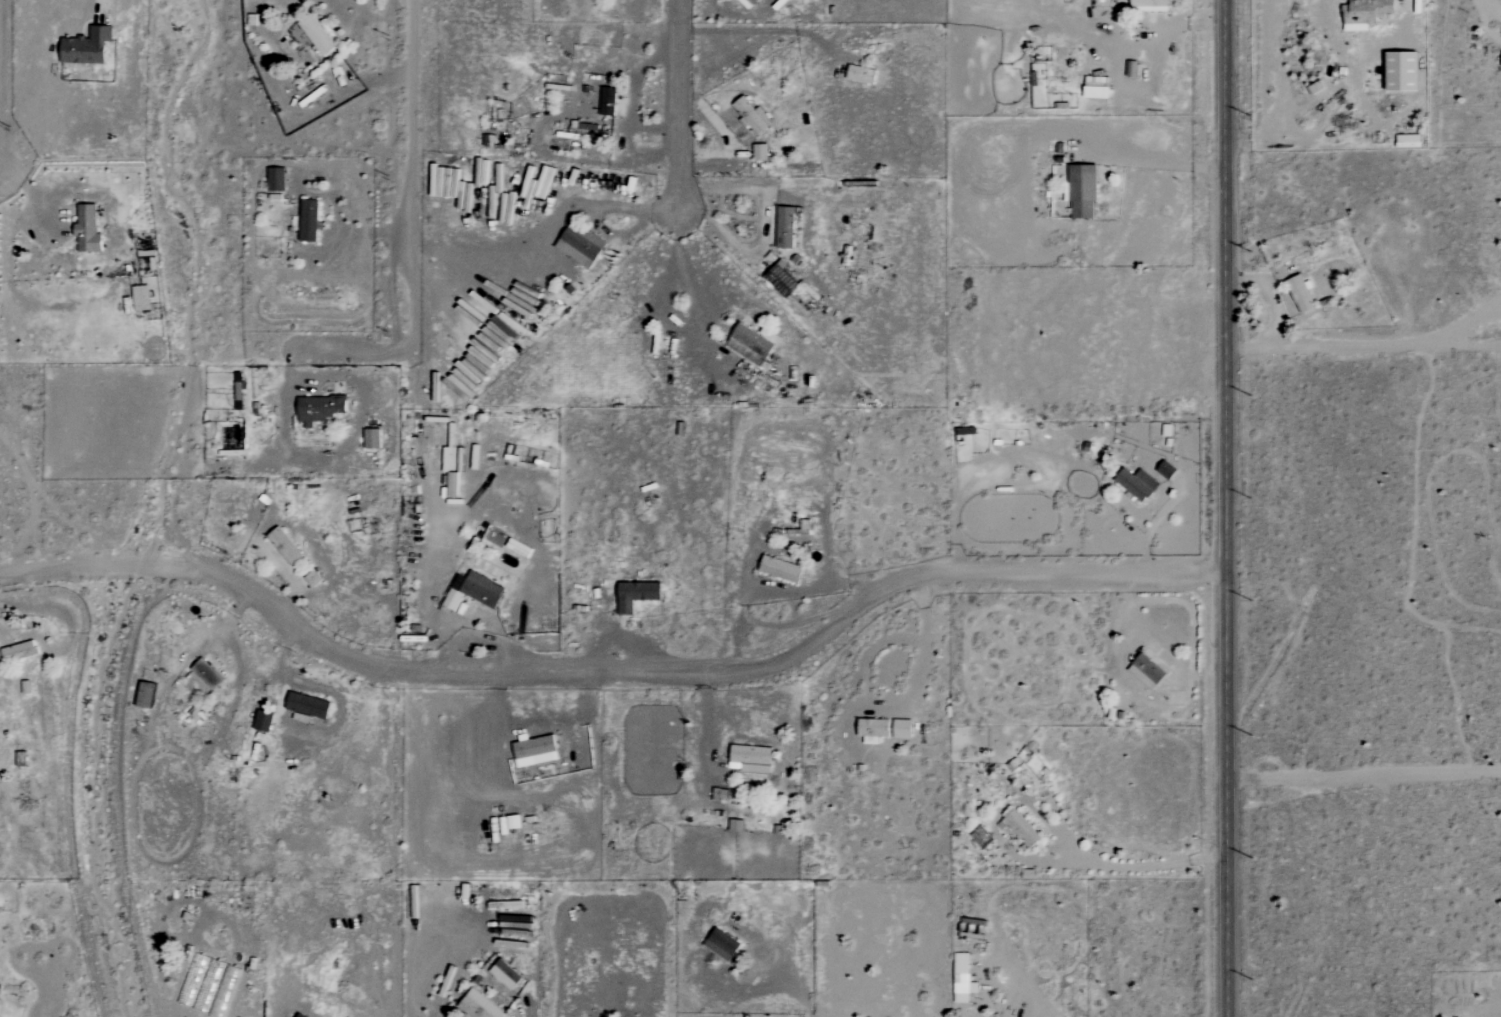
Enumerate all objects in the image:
building: (1116, 0)
building: (1150, 5)
road: (1494, 5)
road: (105, 9)
building: (1367, 13)
road: (1488, 22)
road: (1163, 26)
building: (317, 35)
building: (87, 47)
building: (1404, 72)
building: (862, 74)
building: (1098, 88)
building: (608, 101)
road: (674, 101)
building: (752, 116)
building: (1409, 141)
building: (761, 152)
road: (1158, 164)
road: (15, 174)
road: (408, 175)
building: (276, 179)
building: (1083, 192)
road: (601, 209)
building: (309, 221)
road: (759, 223)
road: (347, 227)
building: (87, 228)
building: (786, 228)
building: (580, 247)
building: (149, 260)
road: (680, 264)
building: (782, 280)
building: (1302, 294)
building: (141, 298)
road: (1270, 298)
building: (752, 340)
road: (1361, 344)
road: (342, 351)
building: (319, 408)
building: (372, 438)
road: (337, 456)
building: (1167, 470)
building: (1137, 483)
road: (1231, 508)
road: (1166, 509)
building: (285, 545)
building: (781, 569)
road: (428, 588)
building: (474, 591)
building: (637, 595)
road: (744, 596)
road: (56, 610)
road: (796, 621)
road: (732, 642)
building: (19, 651)
building: (1147, 671)
building: (207, 673)
road: (614, 673)
building: (146, 694)
building: (308, 705)
building: (263, 721)
road: (706, 723)
building: (872, 728)
building: (903, 729)
building: (535, 751)
building: (751, 757)
building: (22, 759)
road: (1365, 774)
building: (1023, 828)
building: (982, 837)
road: (1137, 867)
building: (722, 944)
road: (439, 964)
building: (506, 974)
building: (962, 977)
road: (1024, 986)
road: (797, 994)
building: (479, 1006)

